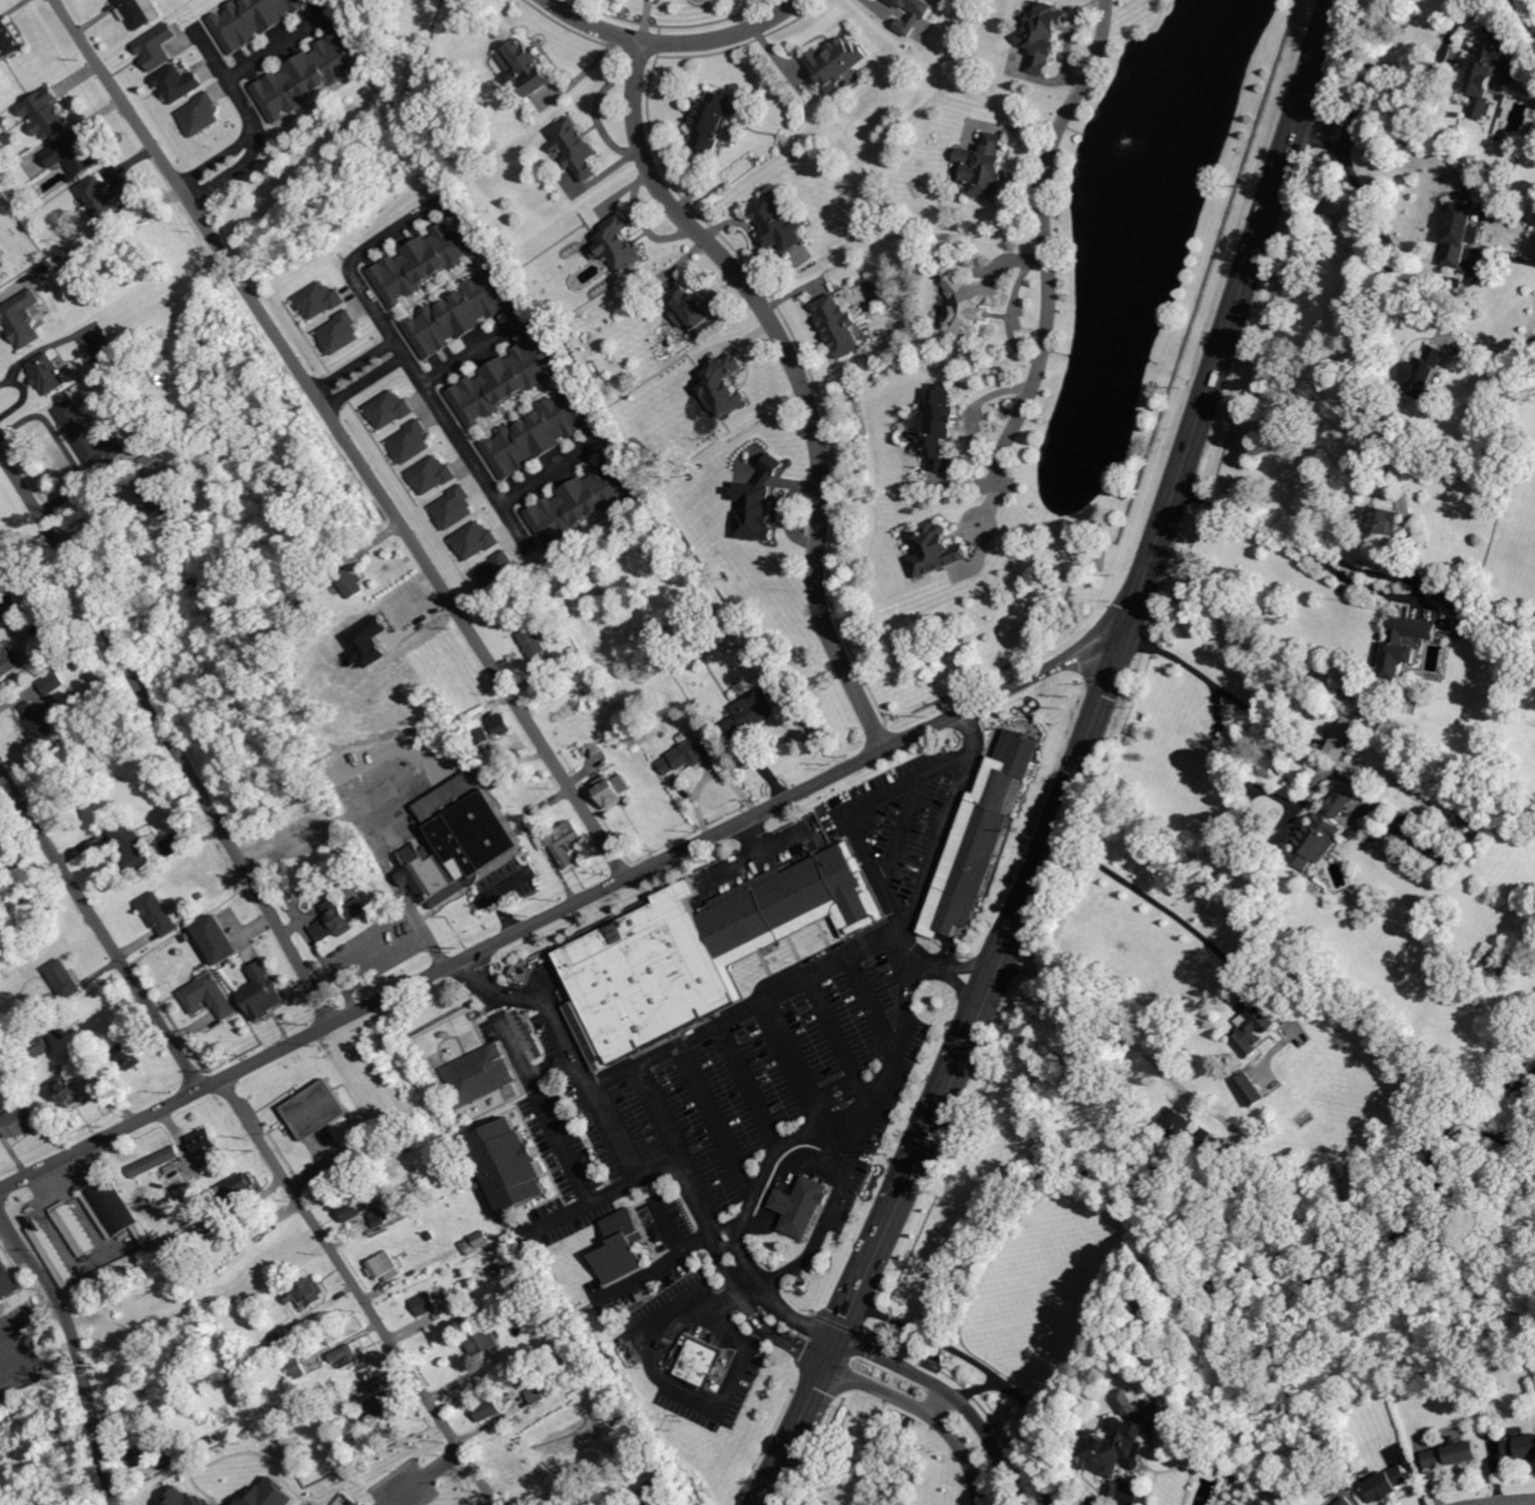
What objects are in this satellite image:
building: (905, 3)
building: (139, 11)
road: (1523, 17)
building: (251, 20)
building: (1041, 35)
building: (9, 40)
road: (674, 43)
building: (155, 48)
road: (270, 48)
building: (835, 61)
building: (530, 67)
building: (1483, 74)
building: (306, 77)
road: (228, 83)
building: (175, 85)
park: (1512, 95)
building: (43, 114)
building: (712, 121)
building: (573, 148)
building: (74, 156)
road: (210, 159)
building: (984, 167)
road: (224, 173)
building: (103, 197)
building: (778, 222)
building: (1461, 233)
road: (1043, 237)
building: (617, 245)
road: (1398, 255)
building: (424, 261)
building: (968, 306)
building: (689, 308)
building: (458, 314)
road: (1231, 315)
building: (20, 319)
building: (837, 325)
building: (1530, 344)
building: (102, 350)
road: (473, 353)
road: (405, 355)
road: (356, 367)
building: (1424, 370)
building: (47, 373)
road: (799, 377)
building: (502, 382)
road: (367, 383)
building: (938, 427)
building: (81, 431)
building: (291, 433)
building: (536, 434)
road: (345, 437)
road: (64, 448)
road: (550, 476)
building: (157, 498)
building: (580, 502)
road: (1250, 518)
building: (1381, 519)
building: (2, 530)
building: (933, 550)
building: (352, 582)
building: (9, 601)
building: (1456, 601)
building: (683, 609)
building: (333, 617)
building: (1449, 624)
traffic signals: (1124, 631)
building: (80, 636)
building: (305, 636)
building: (534, 642)
building: (572, 650)
building: (1399, 652)
building: (9, 662)
road: (1112, 665)
building: (53, 683)
building: (78, 693)
road: (1216, 694)
building: (751, 712)
road: (1257, 713)
building: (40, 721)
building: (500, 724)
building: (477, 732)
road: (169, 735)
building: (1340, 738)
building: (688, 755)
building: (612, 790)
building: (1478, 818)
building: (977, 829)
building: (1319, 833)
building: (456, 839)
building: (178, 842)
building: (562, 842)
building: (132, 846)
building: (1435, 848)
road: (766, 853)
road: (399, 893)
building: (201, 896)
road: (1158, 902)
road: (561, 910)
building: (161, 913)
building: (339, 918)
road: (100, 927)
building: (216, 941)
building: (698, 943)
road: (848, 955)
building: (1488, 963)
road: (943, 964)
building: (65, 978)
building: (260, 994)
building: (208, 995)
road: (983, 995)
building: (1263, 1017)
road: (1121, 1032)
building: (42, 1046)
building: (130, 1055)
building: (478, 1075)
parking lot: (758, 1084)
building: (69, 1090)
building: (1248, 1091)
building: (315, 1108)
building: (22, 1120)
building: (1170, 1124)
building: (1202, 1136)
building: (203, 1140)
building: (156, 1161)
building: (508, 1165)
building: (178, 1181)
building: (239, 1189)
building: (798, 1203)
building: (355, 1208)
road: (755, 1210)
building: (379, 1216)
building: (75, 1228)
building: (41, 1234)
building: (430, 1235)
building: (617, 1241)
building: (475, 1243)
building: (385, 1266)
building: (493, 1270)
building: (7, 1281)
road: (775, 1282)
building: (308, 1292)
road: (360, 1292)
building: (426, 1302)
building: (111, 1305)
road: (785, 1328)
building: (282, 1336)
road: (837, 1338)
building: (685, 1339)
road: (43, 1342)
building: (482, 1342)
building: (665, 1346)
road: (78, 1349)
building: (346, 1355)
building: (696, 1357)
building: (673, 1363)
traffic signals: (827, 1364)
building: (296, 1368)
road: (990, 1371)
road: (663, 1378)
road: (979, 1388)
road: (953, 1393)
building: (536, 1394)
building: (309, 1396)
building: (337, 1402)
building: (381, 1403)
building: (487, 1410)
road: (927, 1410)
building: (204, 1443)
building: (1120, 1443)
building: (1521, 1445)
road: (785, 1447)
building: (147, 1452)
building: (1454, 1452)
building: (177, 1457)
building: (218, 1460)
building: (406, 1462)
road: (427, 1478)
building: (1387, 1485)
building: (1128, 1493)
building: (656, 1494)
building: (158, 1498)
building: (1347, 1501)
road: (1507, 1502)

